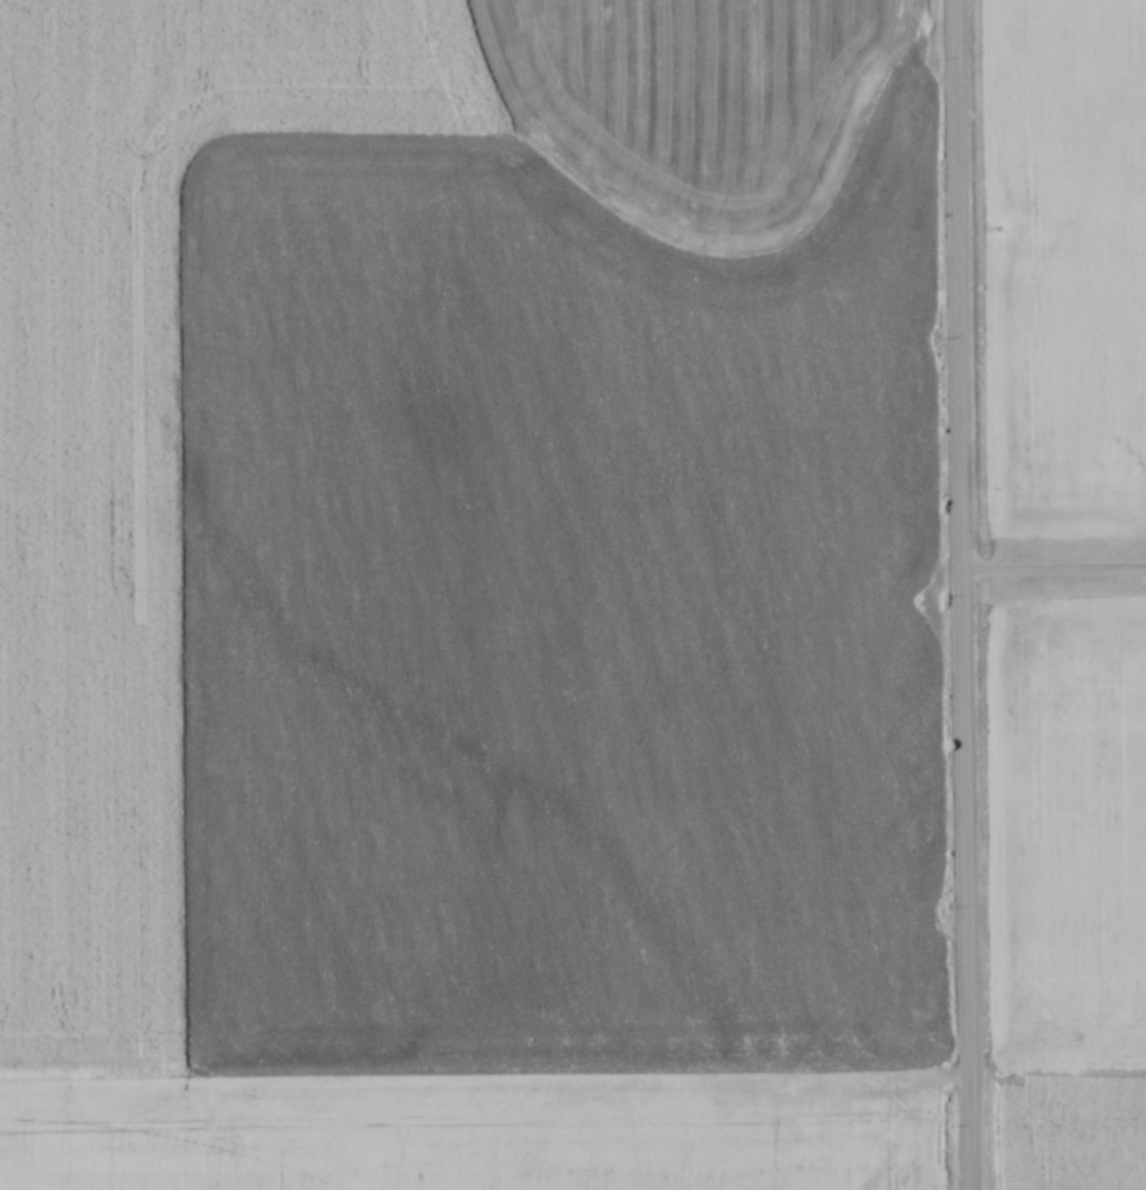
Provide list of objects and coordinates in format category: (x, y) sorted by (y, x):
road: (1052, 571)
road: (959, 594)

